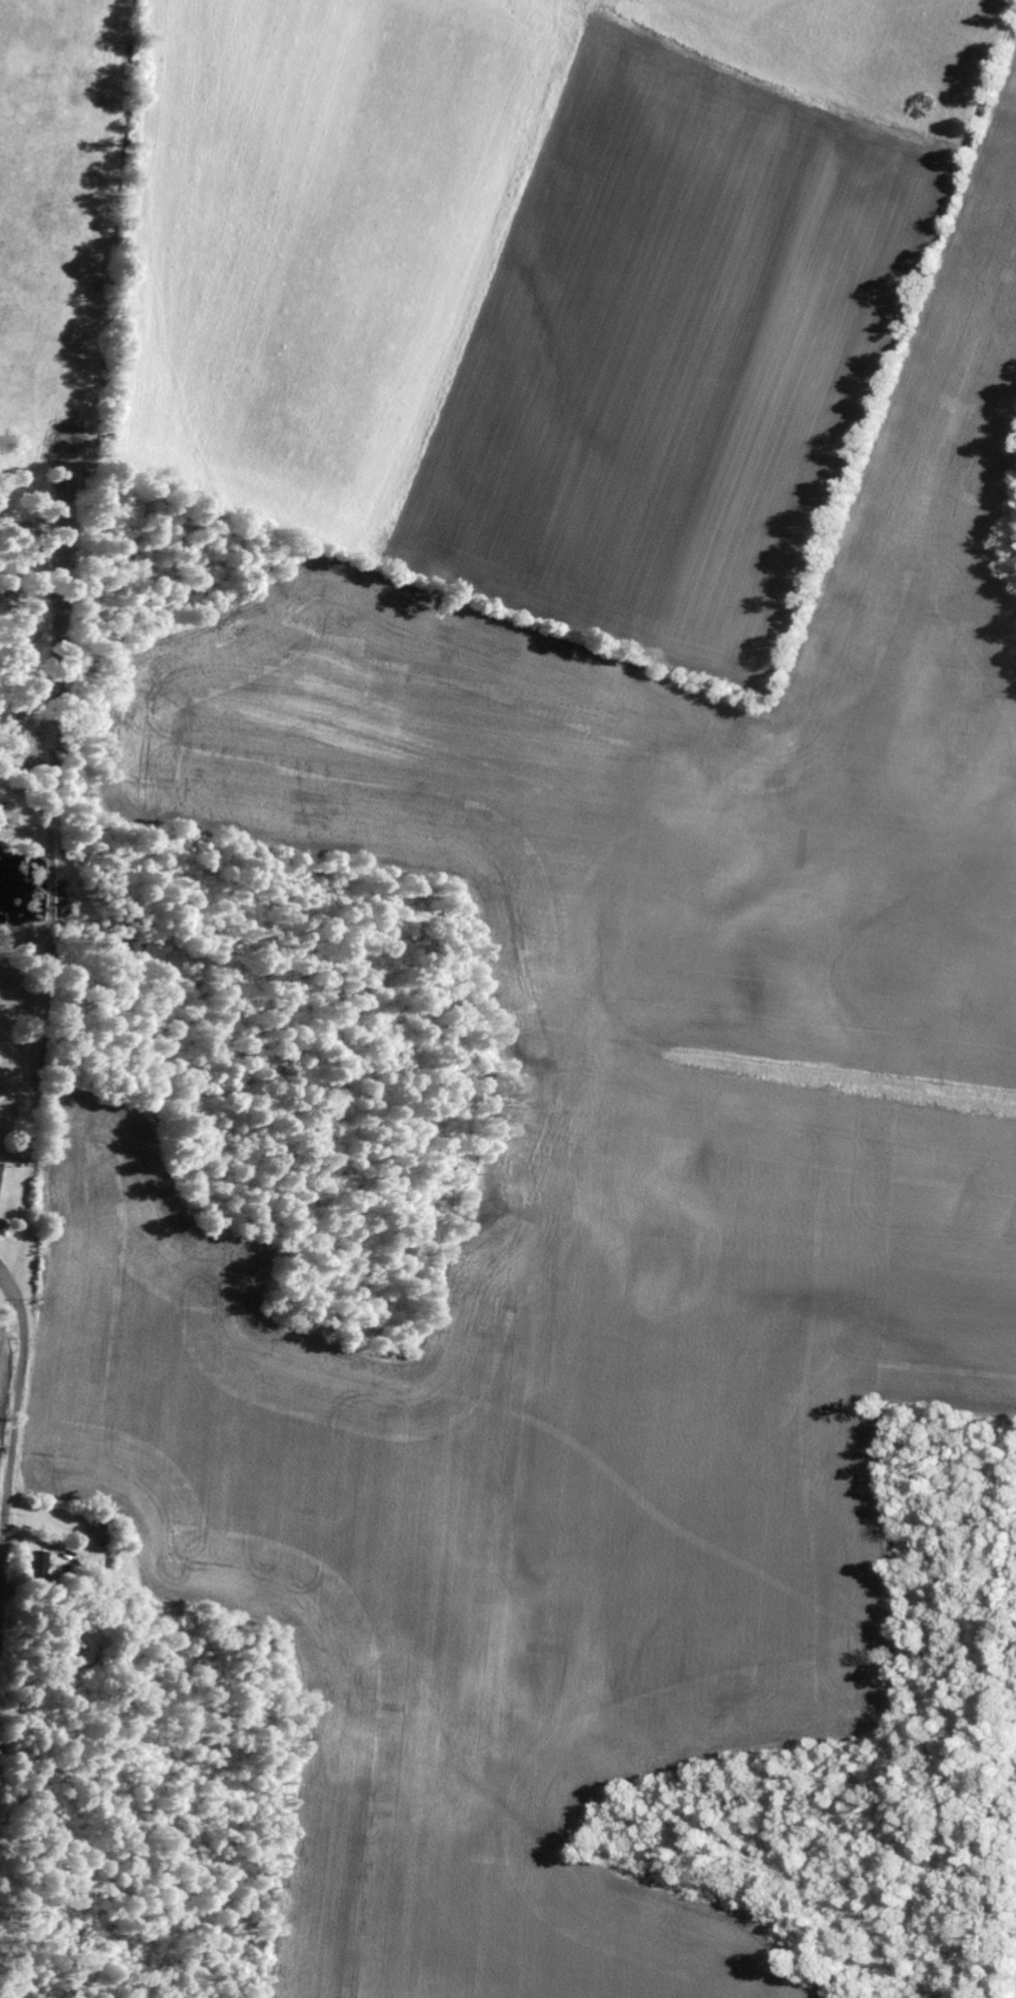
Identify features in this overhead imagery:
building: (1, 1173)
road: (17, 1413)
building: (42, 1565)

